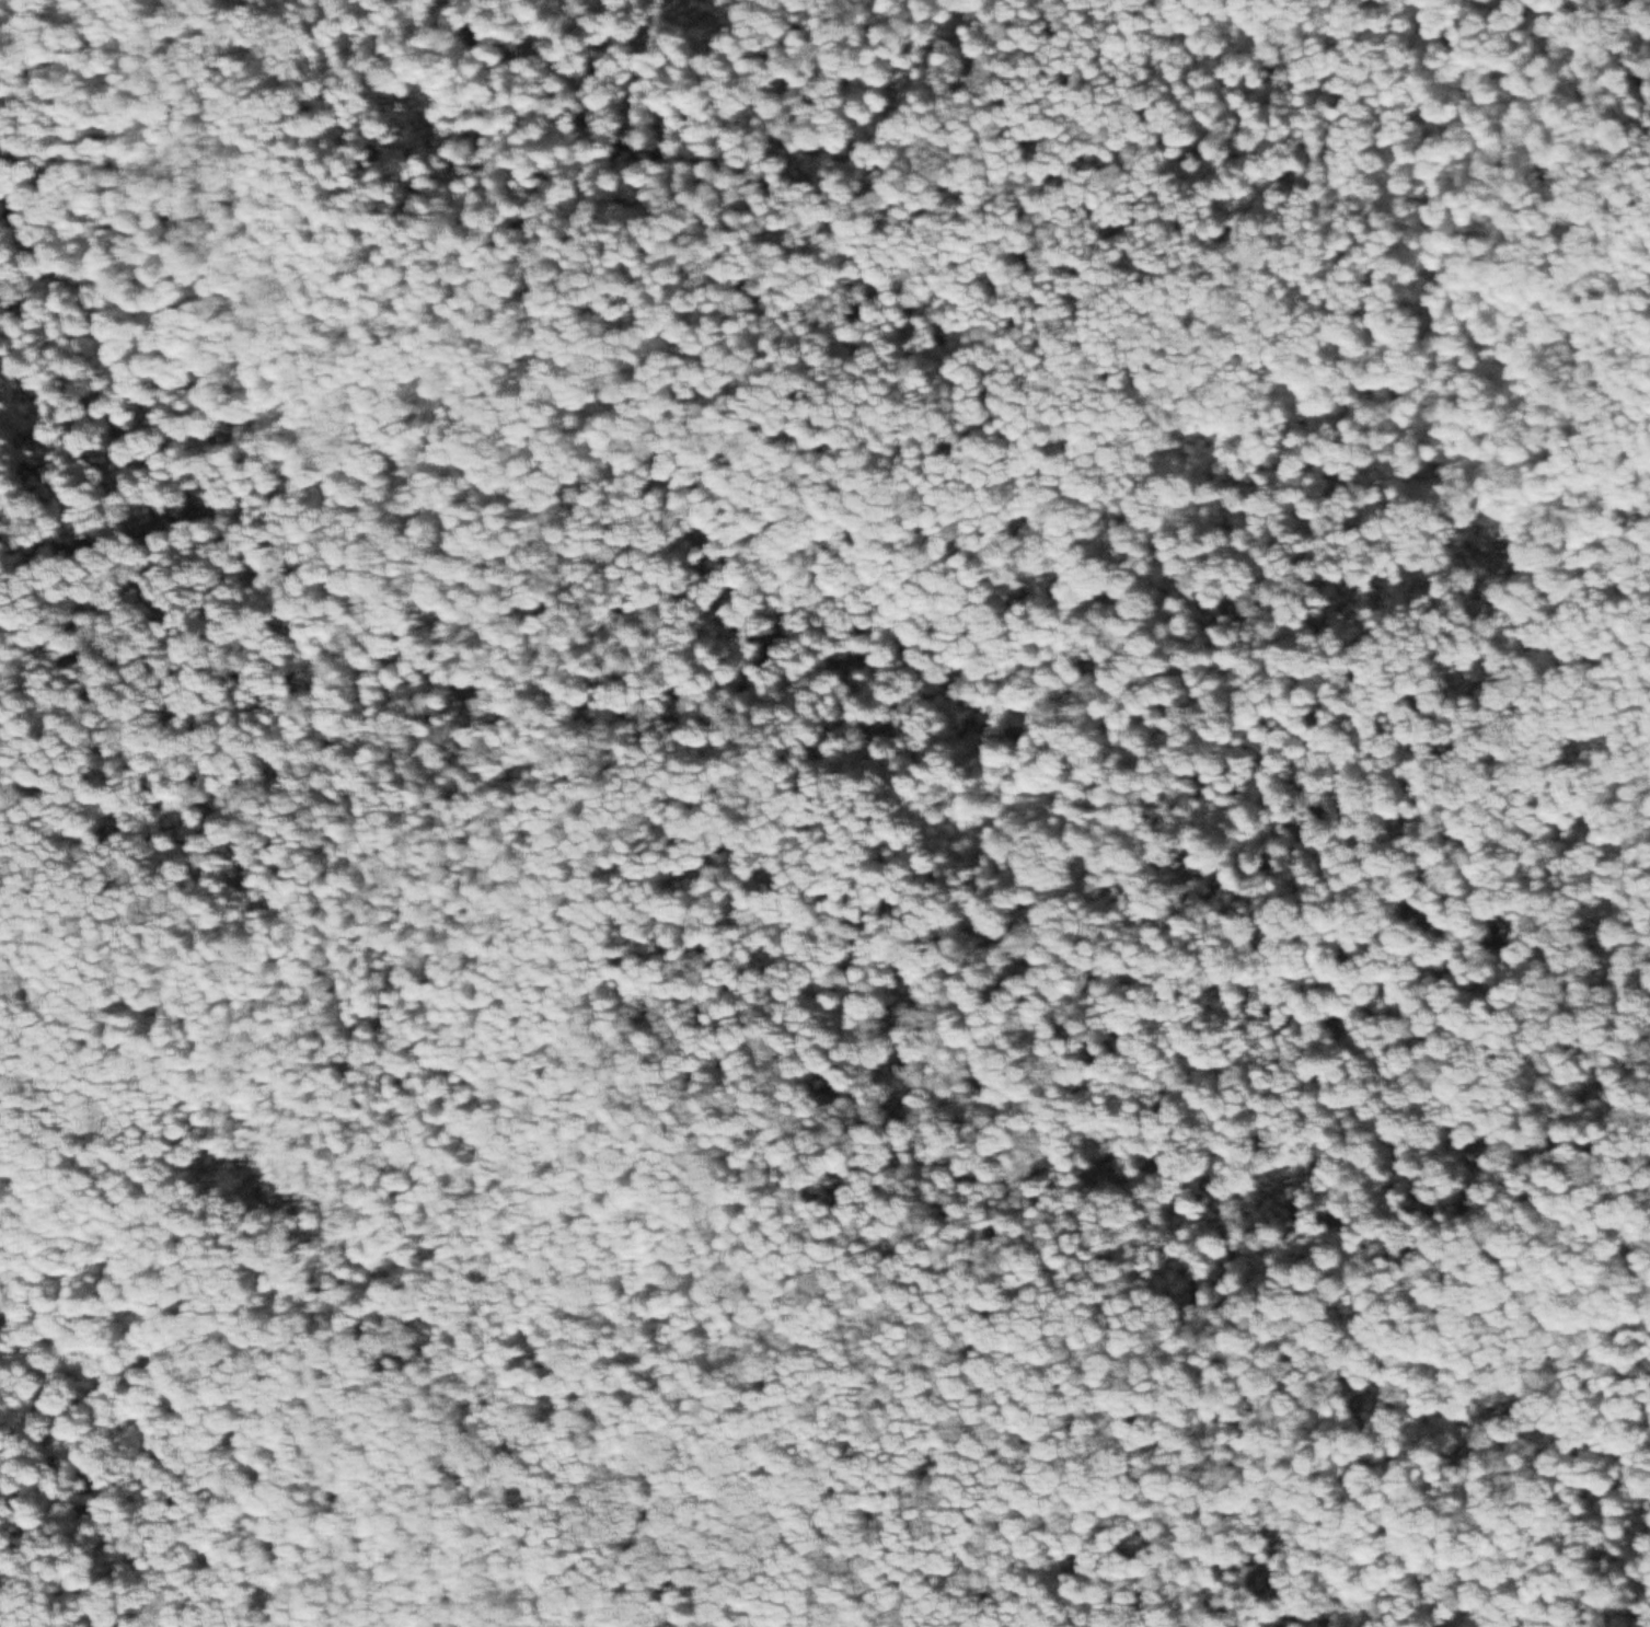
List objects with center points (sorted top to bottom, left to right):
road: (21, 61)
road: (522, 76)

